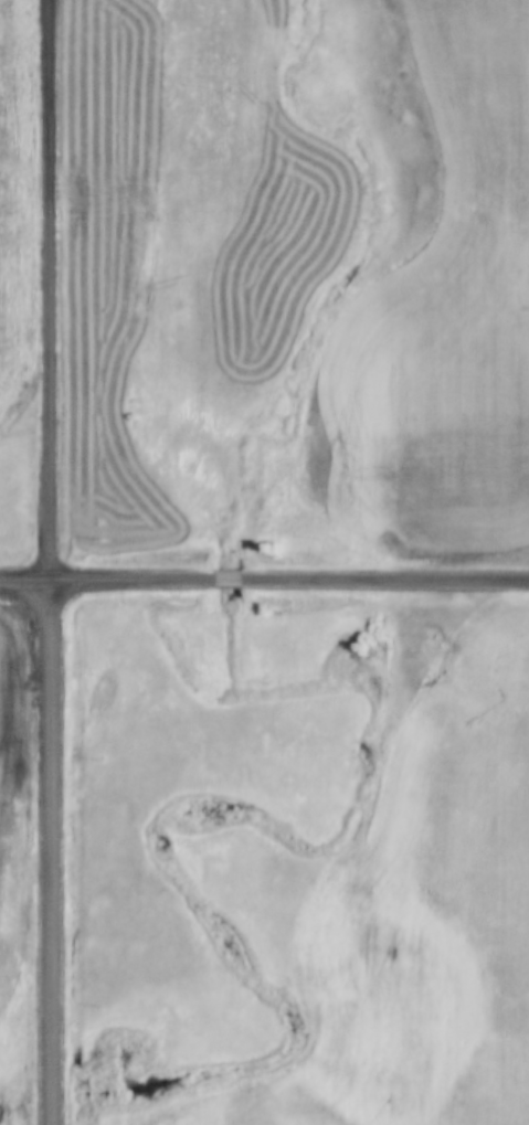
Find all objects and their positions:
road: (49, 562)
road: (264, 583)
road: (27, 1082)

